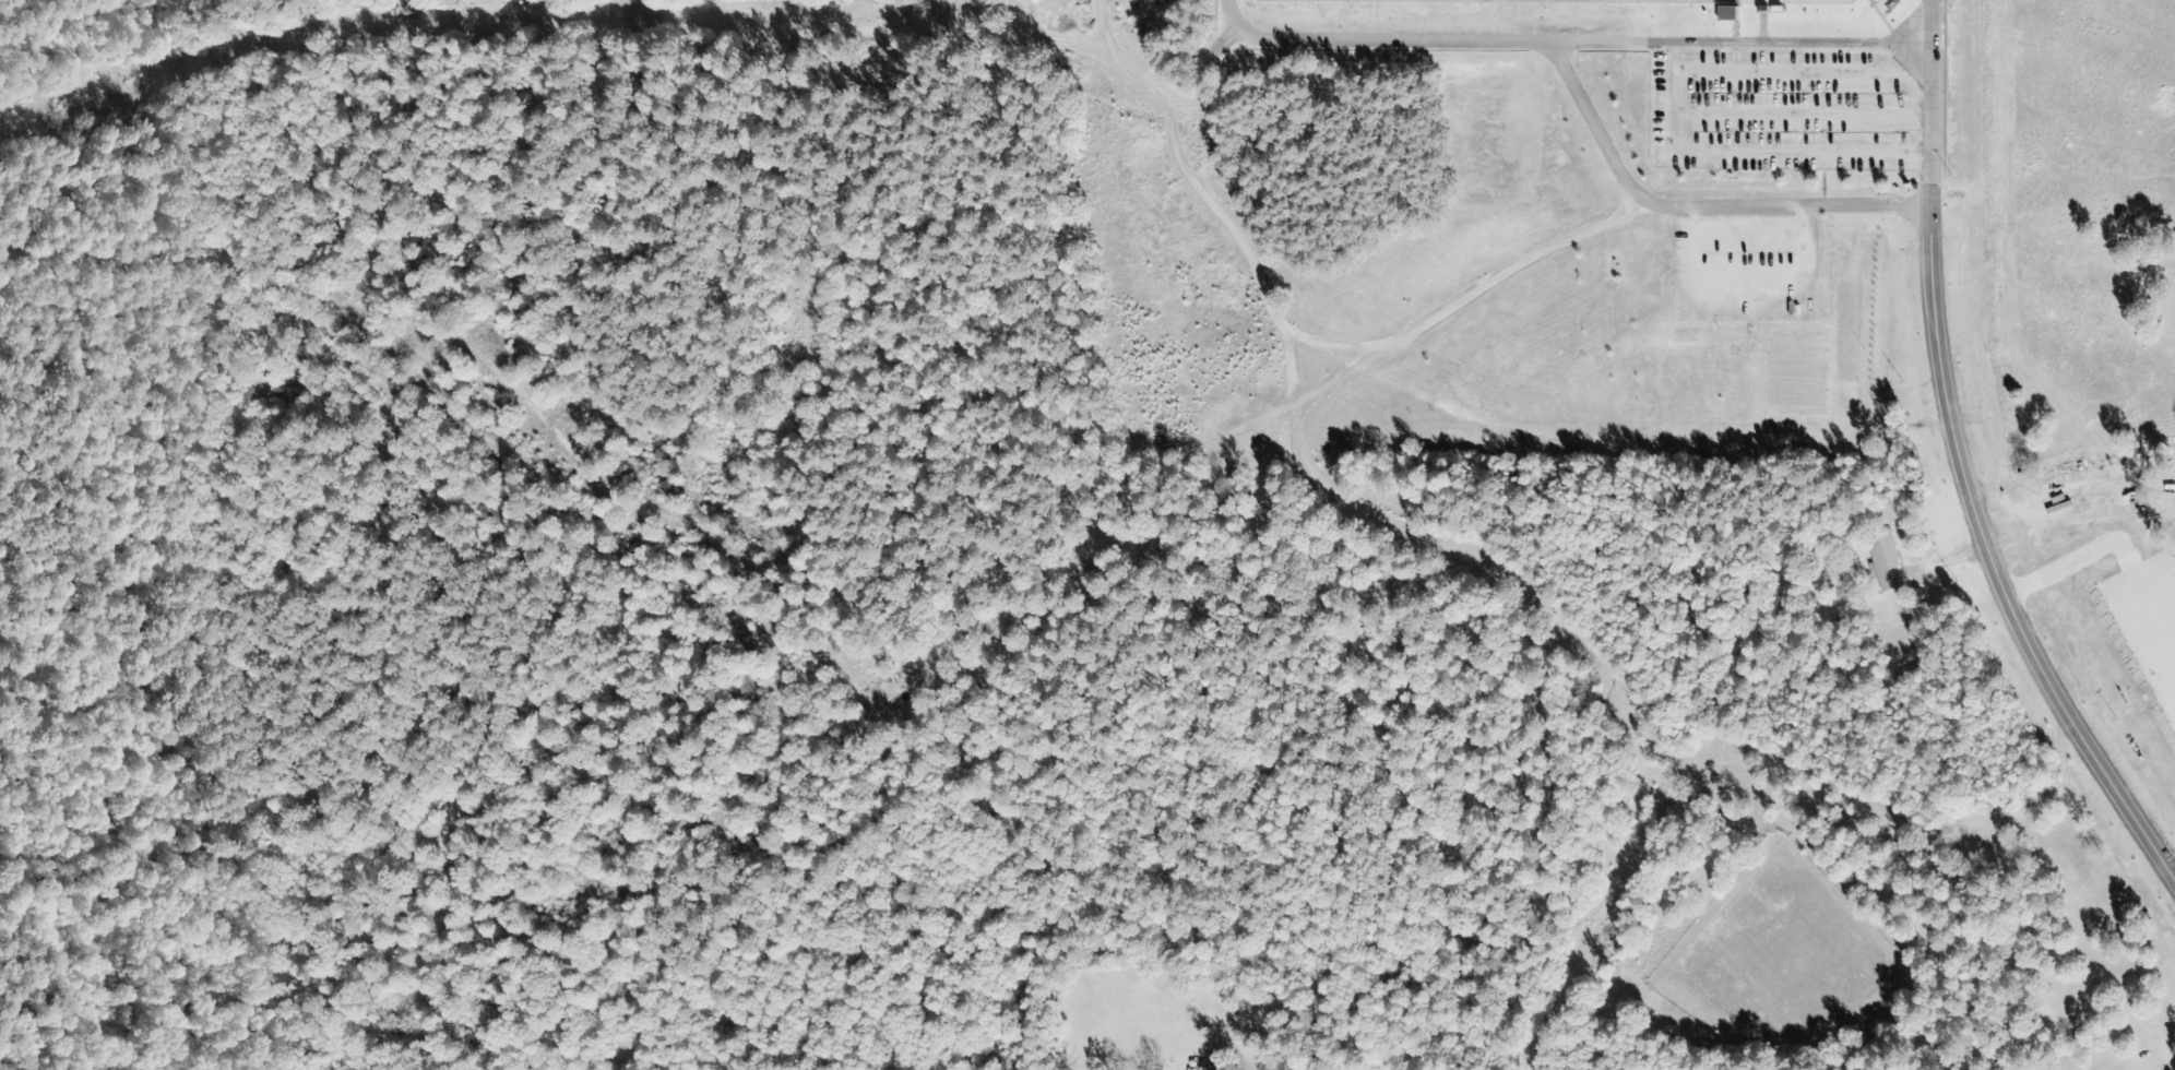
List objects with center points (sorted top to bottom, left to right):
building: (1725, 13)
parking lot: (1778, 107)
road: (1627, 187)
building: (1882, 560)
road: (1990, 566)
building: (1197, 1065)

